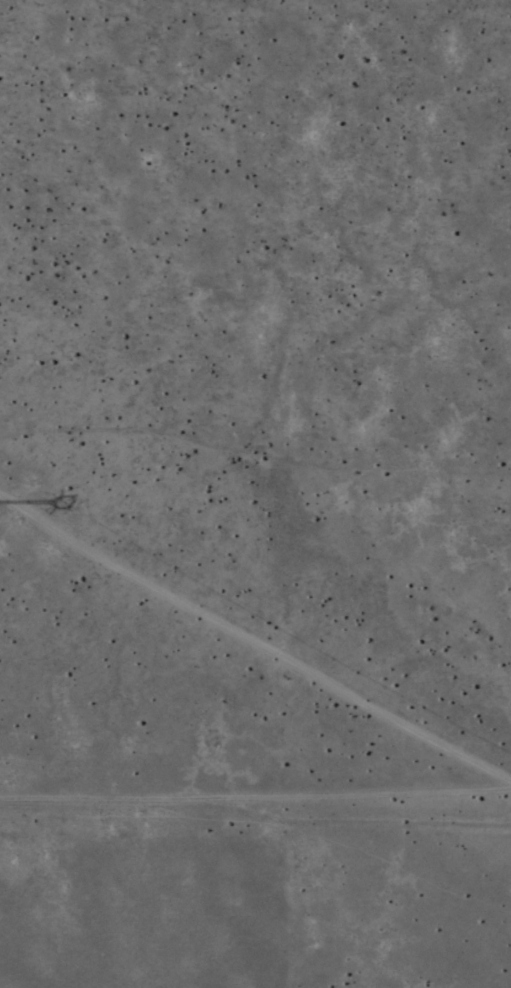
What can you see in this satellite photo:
road: (255, 829)

